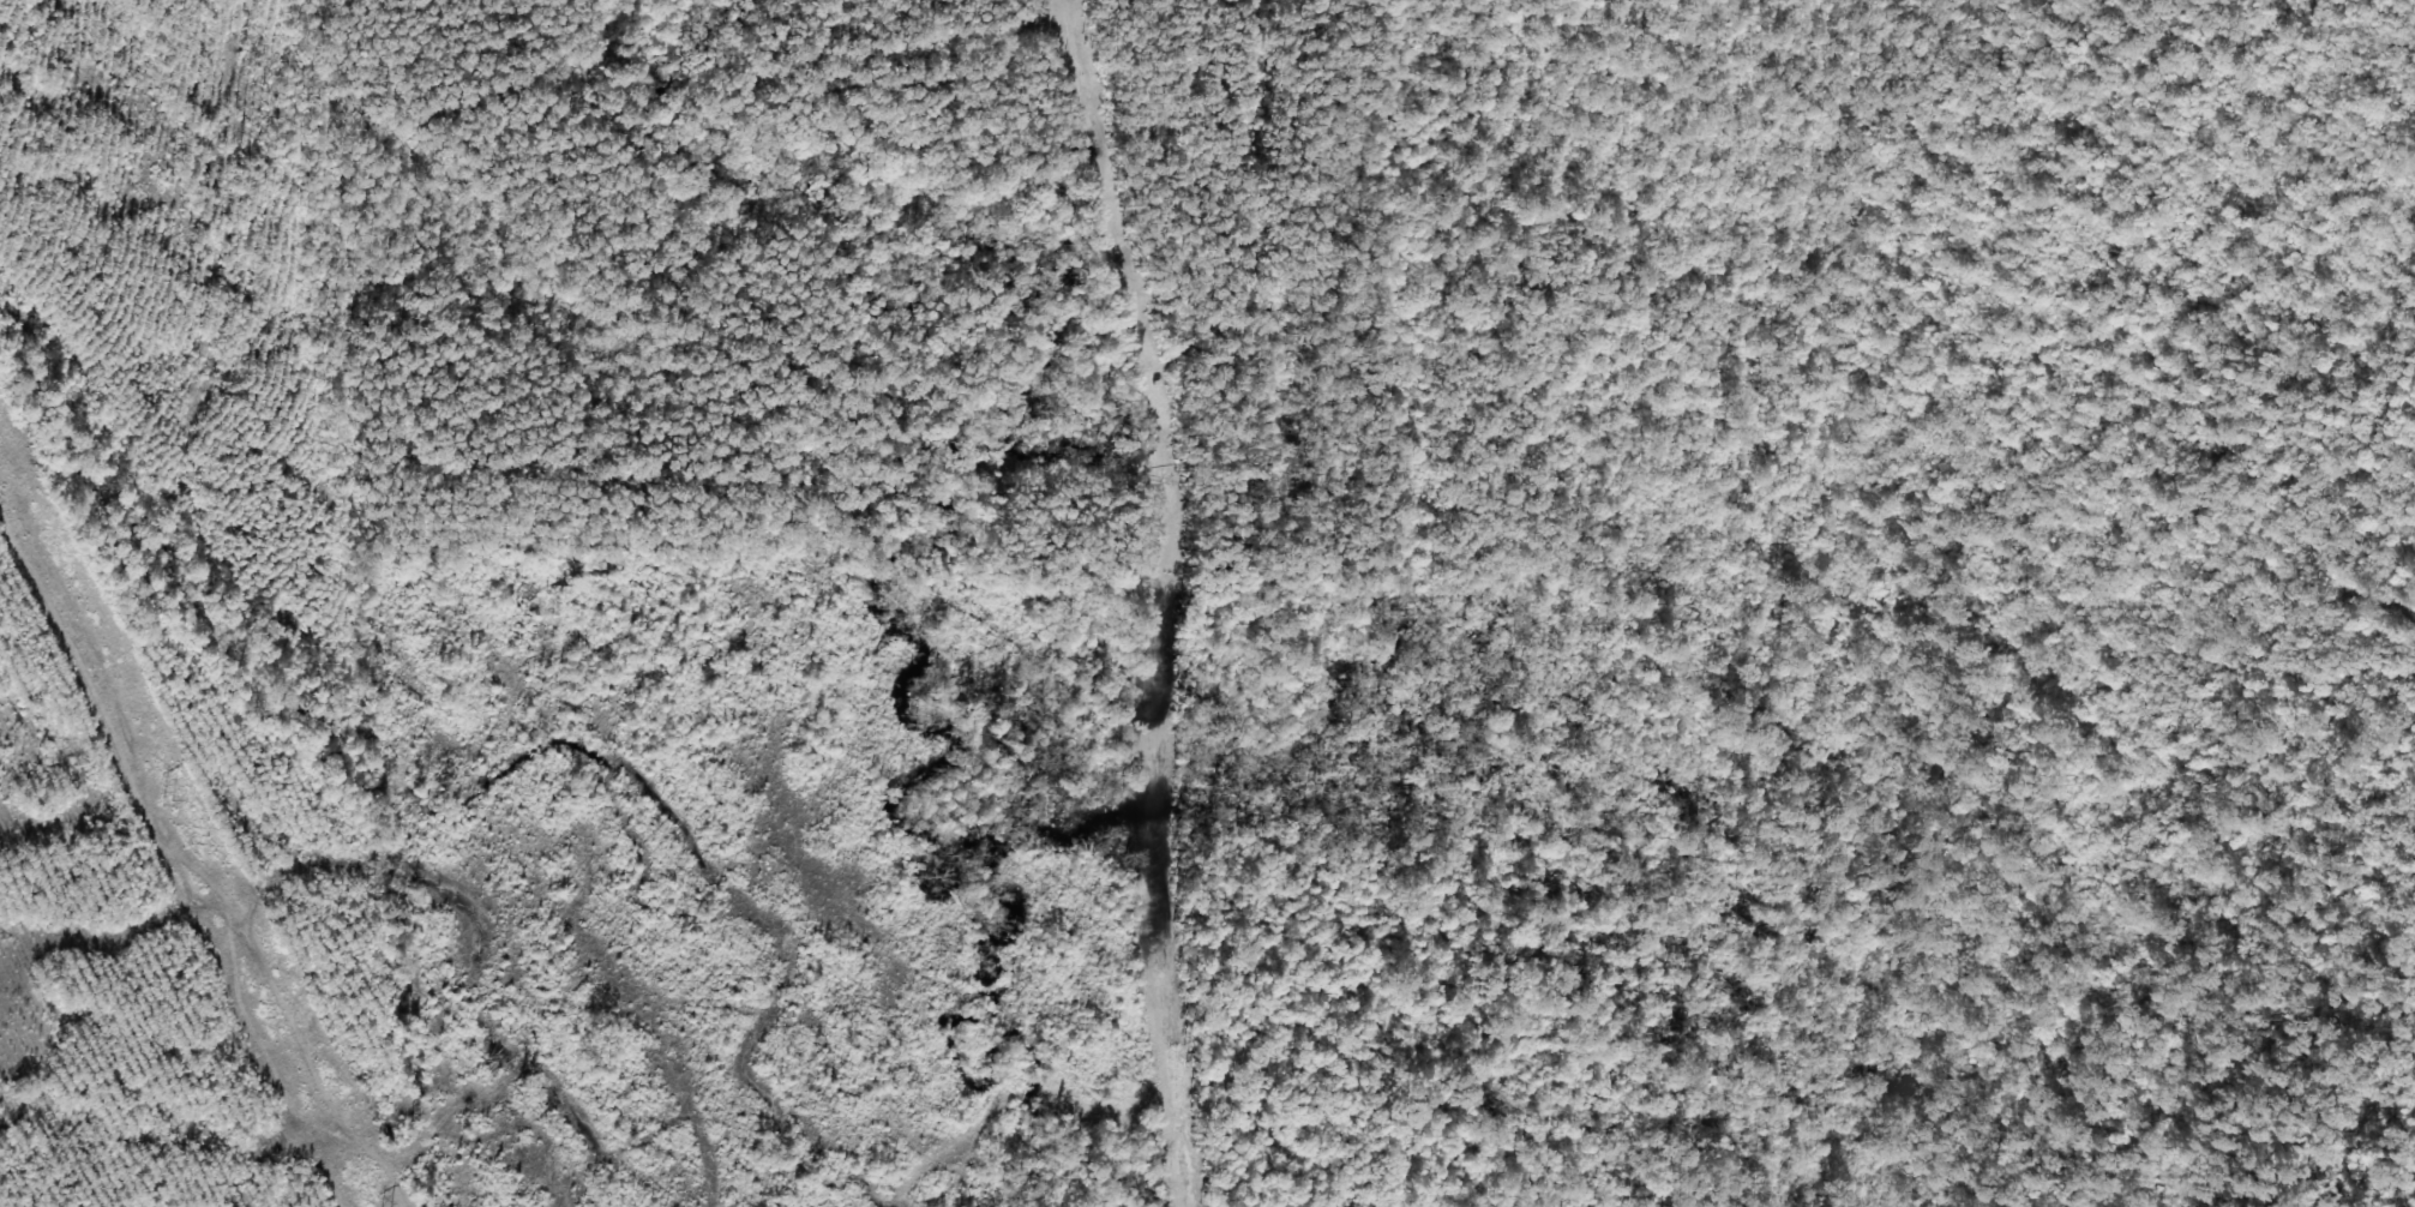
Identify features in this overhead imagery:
power tower: (175, 805)

